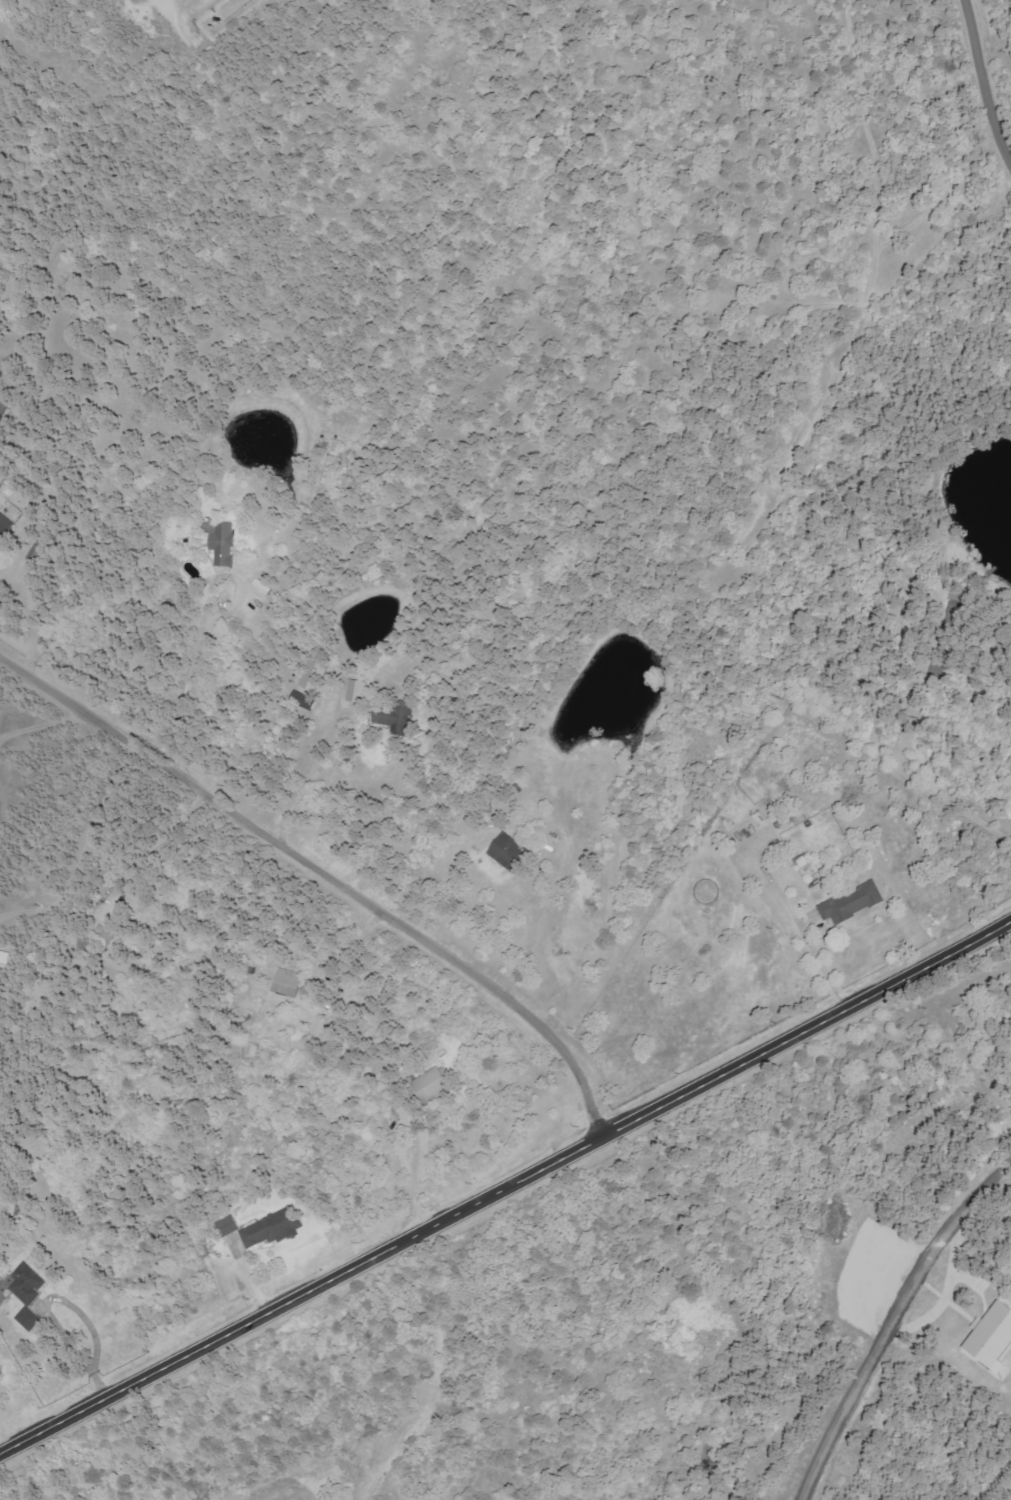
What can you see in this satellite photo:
road: (987, 86)
building: (5, 405)
building: (6, 526)
building: (223, 542)
building: (315, 674)
building: (511, 852)
road: (326, 869)
building: (854, 904)
building: (7, 957)
building: (289, 983)
building: (434, 1084)
building: (407, 1107)
road: (504, 1182)
building: (229, 1226)
building: (276, 1229)
building: (31, 1295)
road: (892, 1317)
building: (994, 1338)

